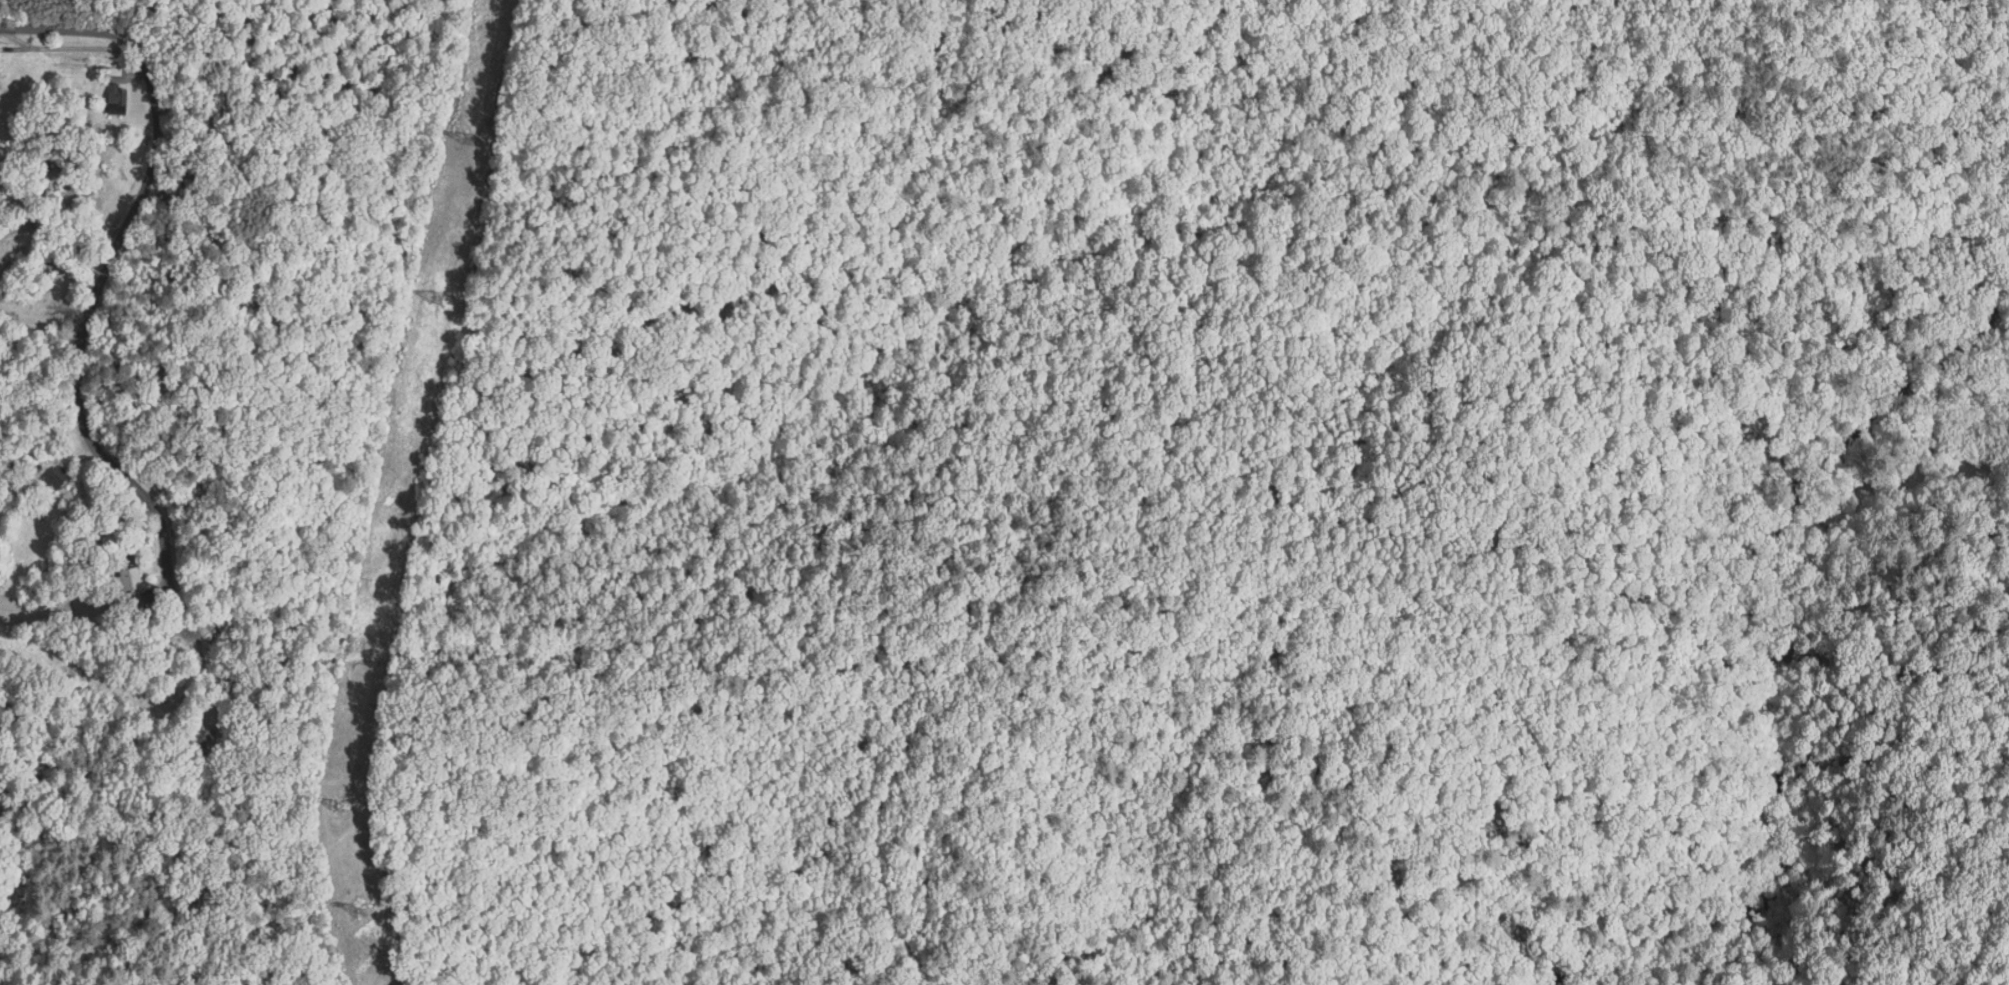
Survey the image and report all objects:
power tower: (469, 135)
road: (96, 287)
power tower: (437, 293)
building: (60, 480)
power tower: (338, 805)
power tower: (357, 908)

